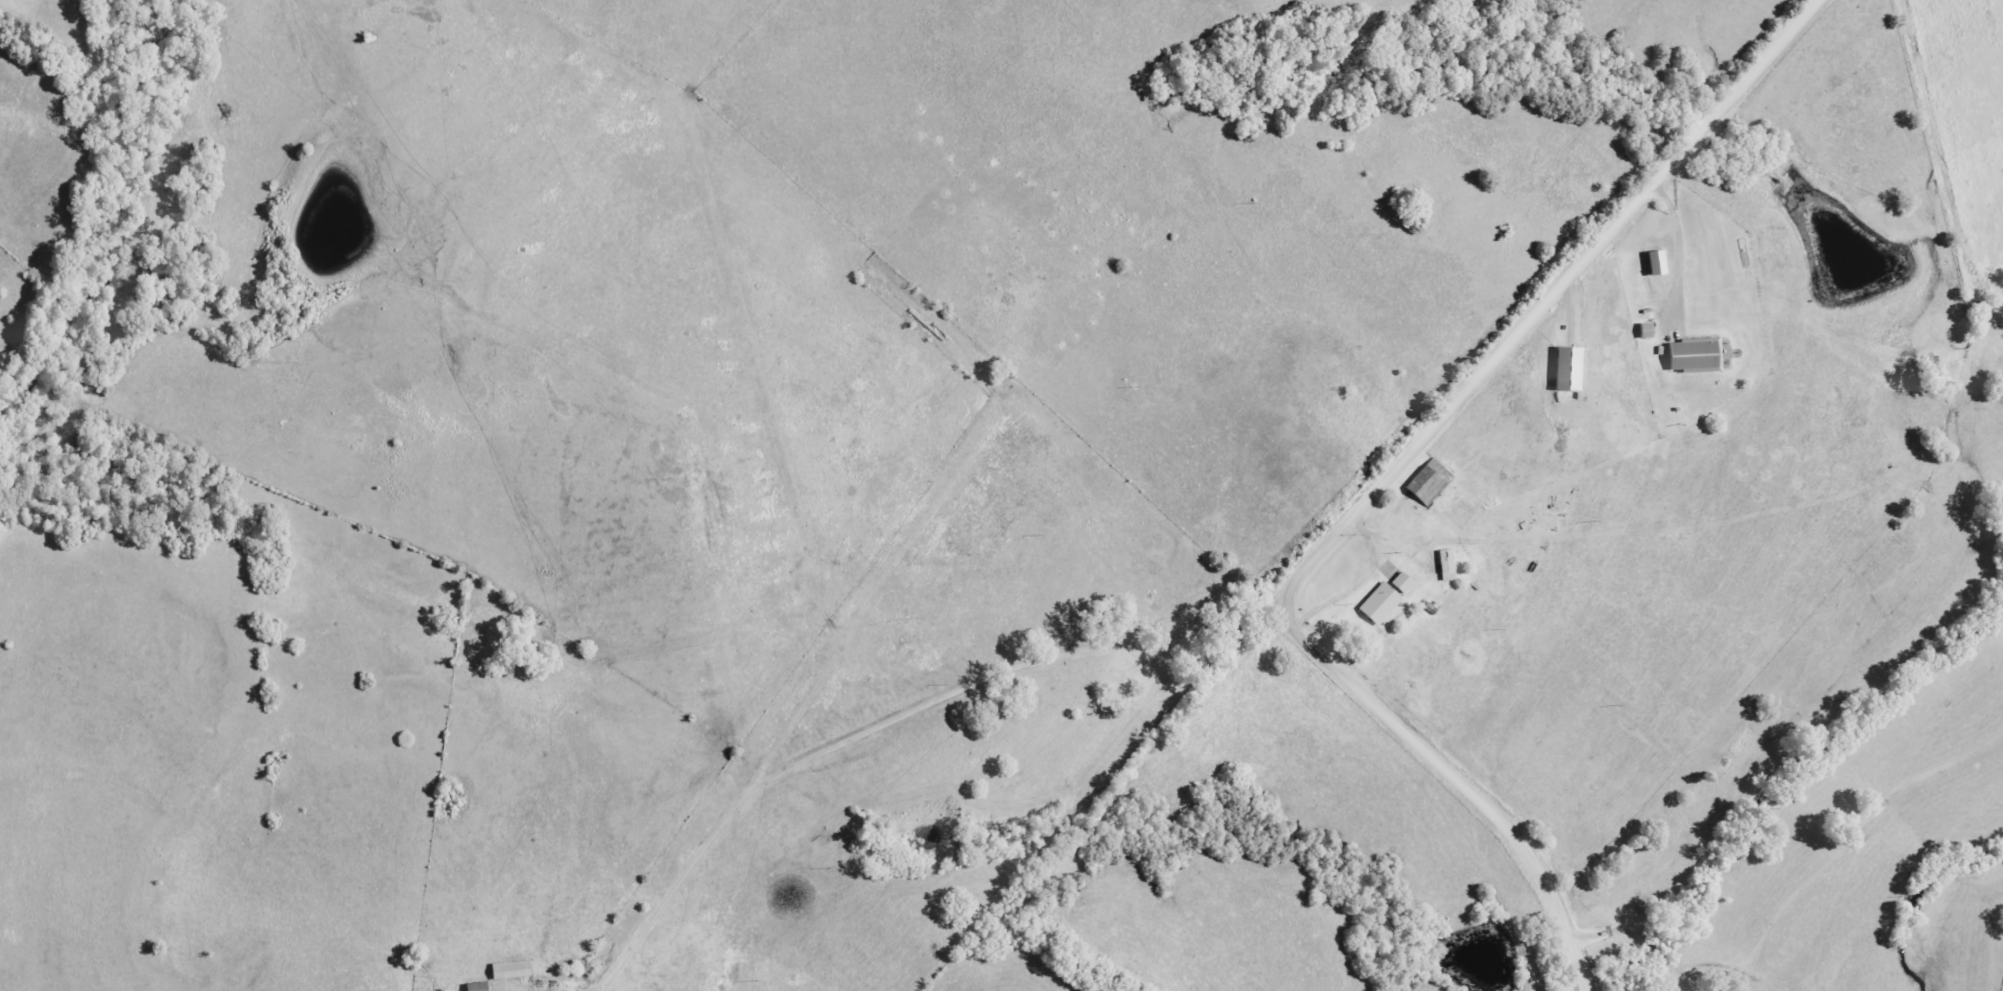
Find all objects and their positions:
building: (1655, 263)
building: (1645, 331)
building: (1693, 355)
building: (1567, 369)
road: (1384, 483)
building: (1429, 483)
building: (1446, 566)
building: (1401, 583)
building: (1379, 604)
building: (509, 970)
road: (1671, 971)
building: (475, 987)

